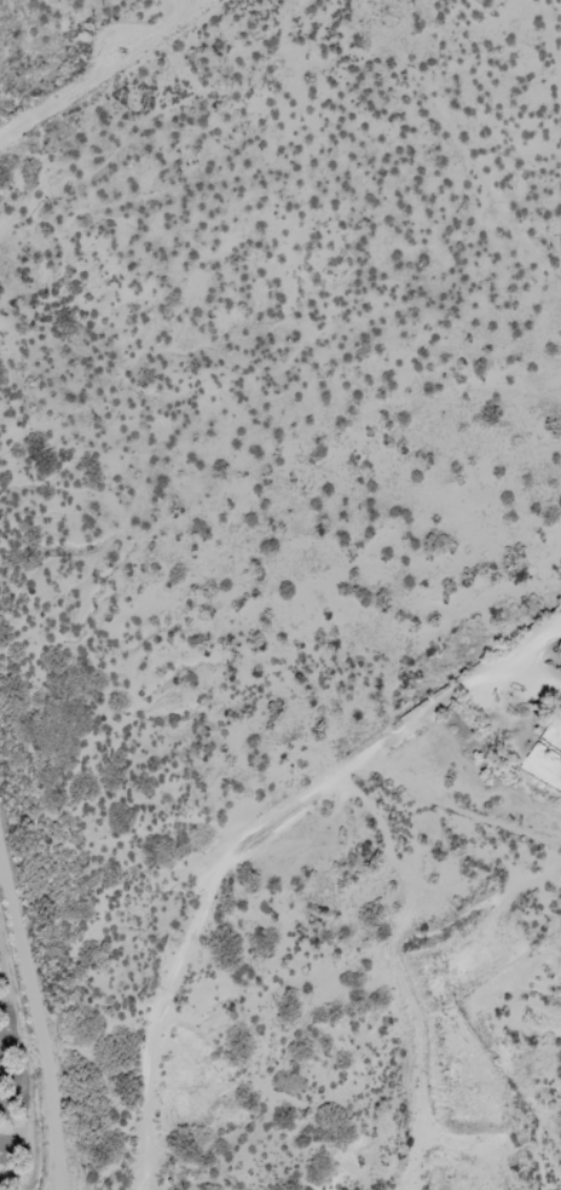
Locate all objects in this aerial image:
road: (70, 40)
road: (280, 915)

